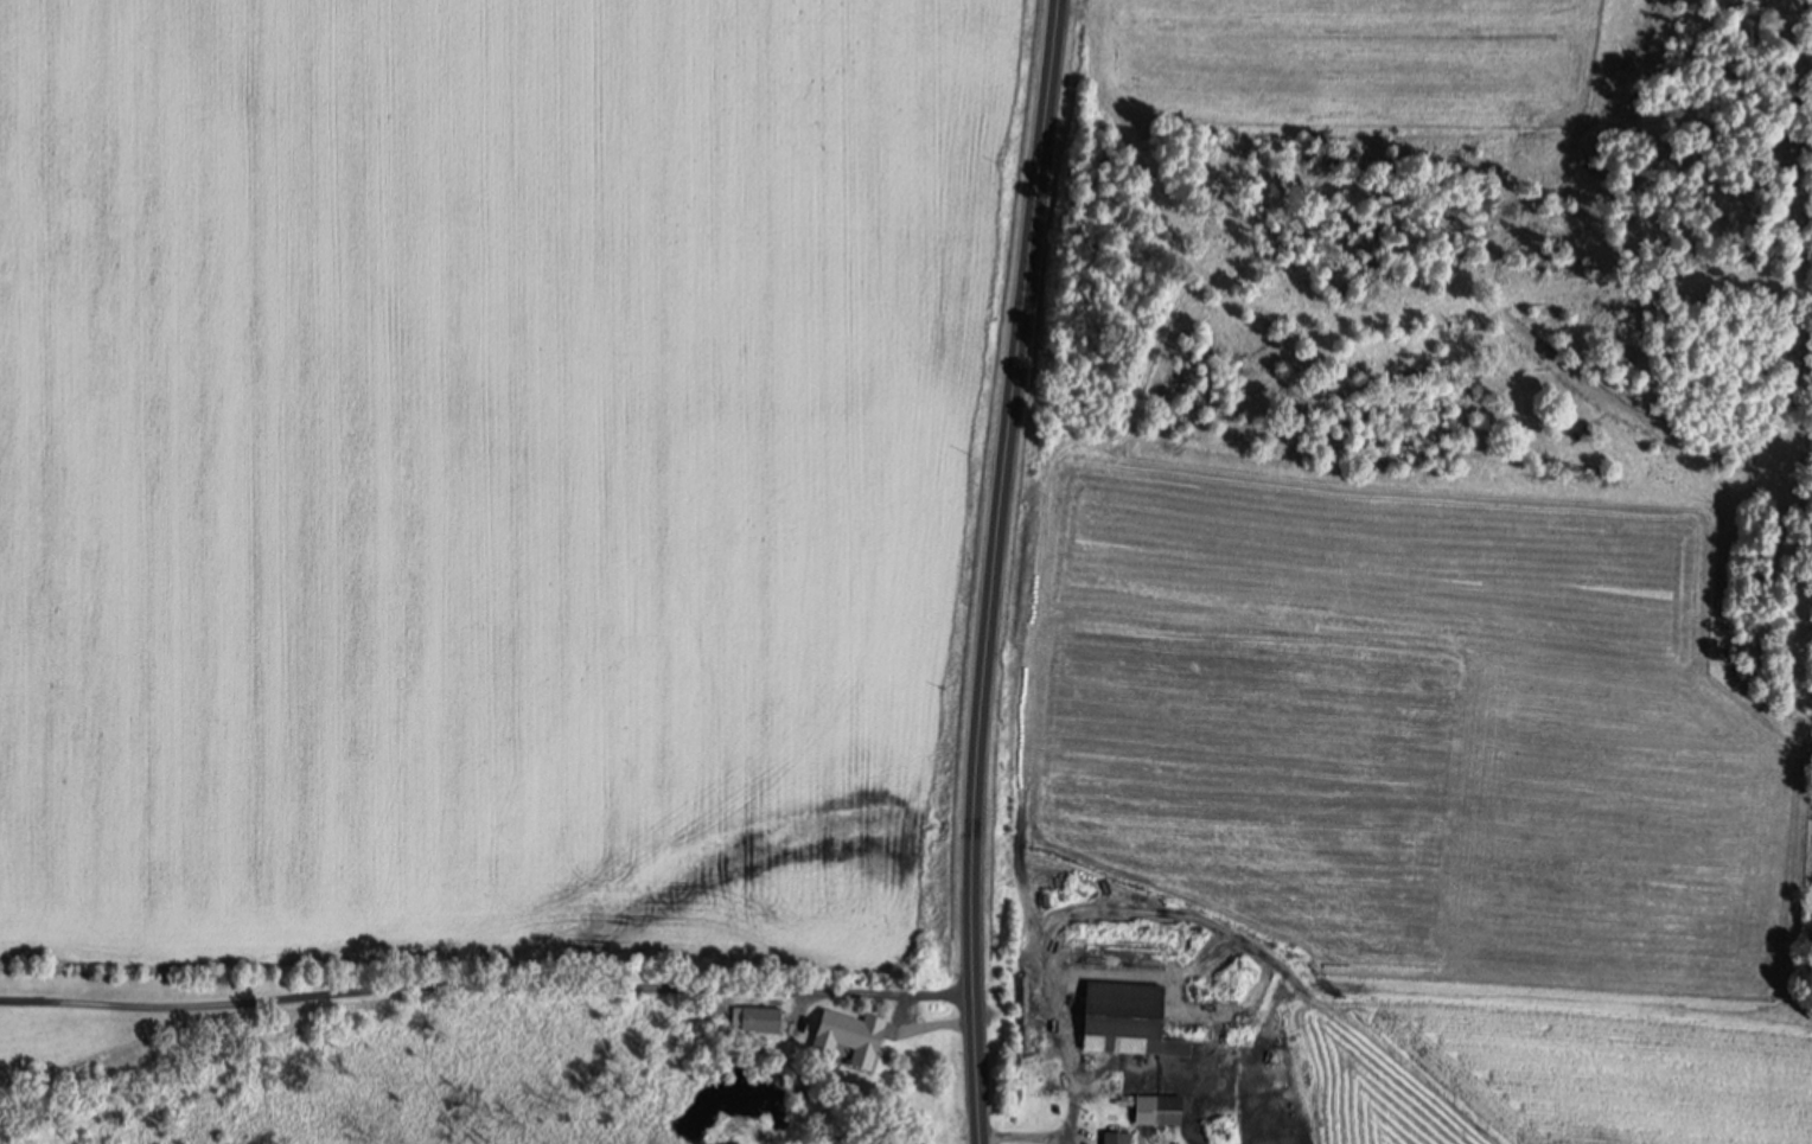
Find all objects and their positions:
crop: (503, 472)
road: (991, 570)
building: (1119, 1015)
building: (759, 1021)
building: (846, 1037)
building: (1118, 1137)

